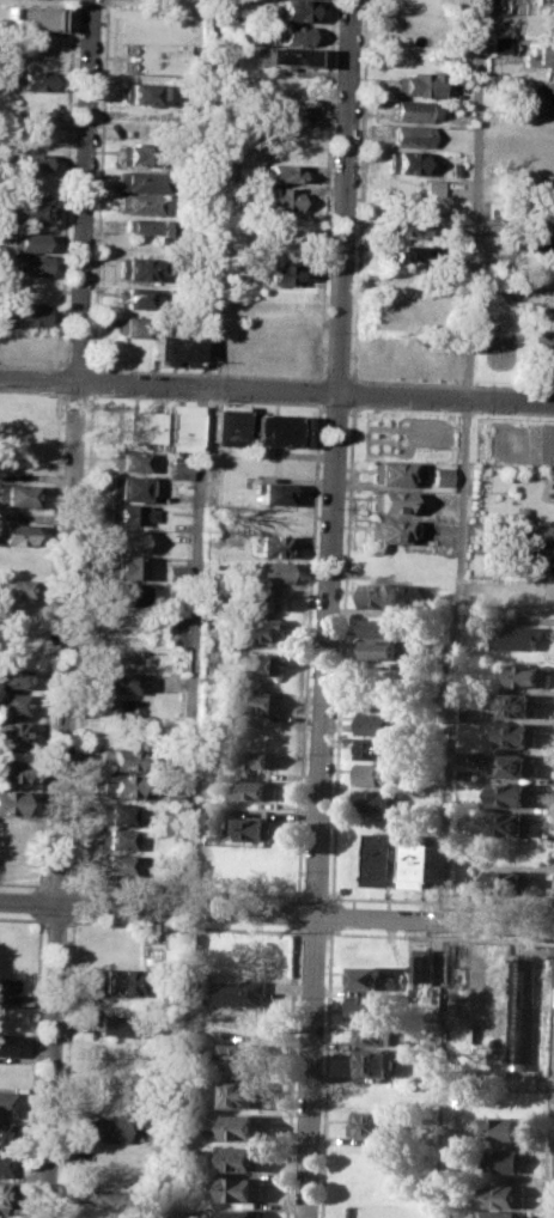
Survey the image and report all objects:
street lamp: (102, 0)
building: (297, 11)
building: (32, 18)
building: (297, 34)
building: (498, 44)
building: (538, 54)
building: (281, 55)
building: (151, 57)
building: (31, 80)
building: (416, 83)
building: (287, 86)
building: (142, 93)
street lamp: (334, 98)
street lamp: (98, 105)
building: (413, 109)
building: (287, 111)
building: (408, 135)
building: (140, 154)
building: (401, 160)
building: (32, 162)
building: (282, 173)
building: (142, 179)
building: (430, 187)
building: (279, 199)
road: (473, 199)
building: (139, 203)
building: (25, 208)
road: (63, 211)
building: (538, 215)
building: (145, 225)
building: (400, 226)
street lamp: (92, 231)
building: (28, 240)
building: (536, 242)
building: (403, 251)
building: (23, 263)
building: (136, 267)
building: (278, 274)
road: (354, 288)
building: (133, 297)
building: (22, 315)
building: (130, 325)
street lamp: (325, 330)
building: (173, 347)
road: (209, 372)
road: (68, 373)
road: (87, 388)
road: (232, 388)
street lamp: (42, 390)
street lamp: (96, 392)
street lamp: (211, 397)
road: (509, 400)
street lamp: (313, 407)
street lamp: (440, 407)
building: (224, 424)
building: (133, 427)
building: (179, 427)
building: (275, 430)
road: (197, 455)
building: (127, 459)
building: (272, 465)
building: (179, 467)
building: (388, 471)
building: (440, 476)
building: (126, 488)
building: (18, 493)
building: (272, 493)
building: (388, 500)
building: (129, 513)
building: (385, 529)
building: (18, 532)
building: (530, 535)
building: (123, 538)
building: (269, 544)
building: (528, 564)
building: (124, 567)
building: (269, 571)
building: (176, 572)
building: (16, 587)
building: (524, 592)
building: (126, 593)
building: (384, 595)
building: (269, 597)
road: (71, 609)
road: (328, 609)
building: (384, 627)
road: (48, 629)
building: (260, 631)
building: (518, 635)
building: (381, 650)
road: (453, 659)
road: (340, 660)
building: (264, 665)
building: (528, 675)
building: (13, 677)
building: (122, 681)
building: (261, 700)
building: (13, 702)
building: (518, 704)
building: (376, 721)
building: (13, 732)
building: (519, 735)
building: (375, 747)
building: (118, 759)
building: (260, 759)
building: (515, 766)
building: (12, 769)
building: (378, 774)
building: (116, 785)
building: (257, 788)
building: (516, 793)
building: (168, 798)
building: (378, 800)
building: (13, 803)
building: (114, 814)
building: (513, 822)
building: (256, 828)
building: (114, 839)
building: (390, 859)
building: (426, 863)
building: (115, 864)
building: (511, 873)
road: (39, 883)
road: (56, 883)
road: (72, 884)
road: (298, 890)
road: (300, 895)
road: (315, 895)
road: (333, 896)
road: (39, 901)
road: (73, 902)
road: (221, 911)
road: (333, 914)
road: (22, 918)
road: (56, 919)
road: (499, 921)
road: (182, 924)
road: (313, 931)
road: (439, 936)
building: (163, 946)
building: (425, 964)
building: (371, 979)
building: (114, 980)
building: (194, 986)
building: (8, 992)
building: (238, 992)
building: (365, 1004)
building: (522, 1011)
building: (111, 1025)
building: (373, 1031)
building: (6, 1045)
building: (242, 1054)
building: (373, 1061)
road: (177, 1064)
road: (32, 1066)
road: (66, 1066)
road: (438, 1068)
road: (291, 1072)
road: (325, 1072)
building: (244, 1094)
road: (549, 1096)
building: (6, 1103)
building: (372, 1123)
building: (244, 1127)
building: (505, 1127)
building: (104, 1129)
building: (4, 1133)
building: (243, 1157)
building: (506, 1159)
building: (4, 1163)
building: (241, 1188)
building: (2, 1194)
building: (506, 1195)
building: (105, 1198)
building: (242, 1213)
building: (498, 1213)

